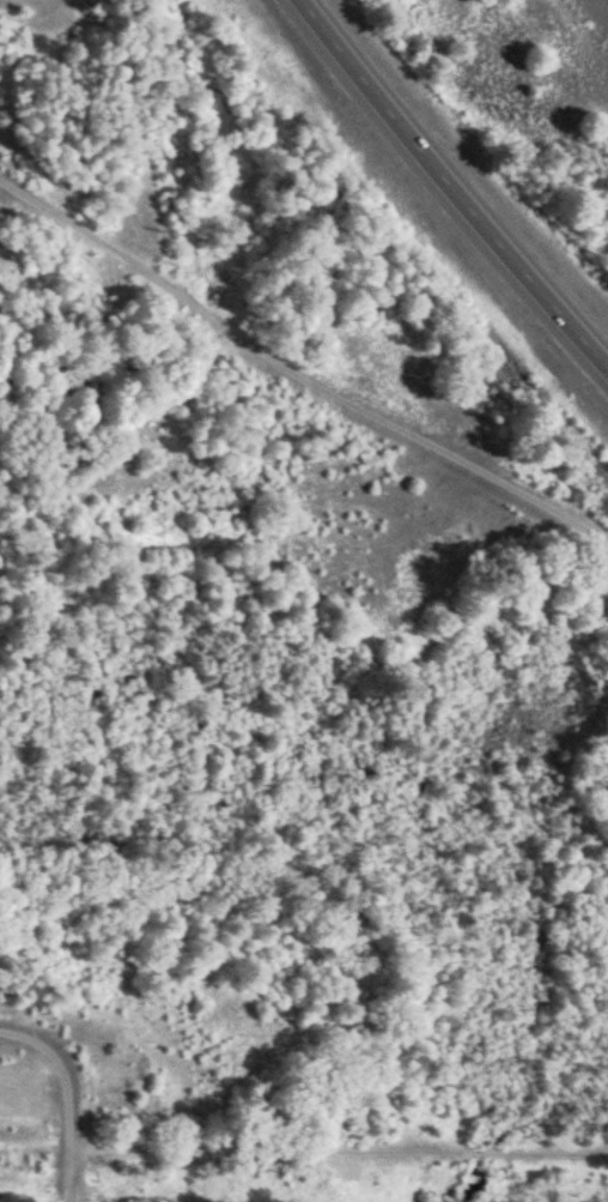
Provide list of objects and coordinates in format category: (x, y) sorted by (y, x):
road: (449, 186)
road: (316, 372)
road: (63, 1075)
road: (340, 1156)
road: (75, 1180)

